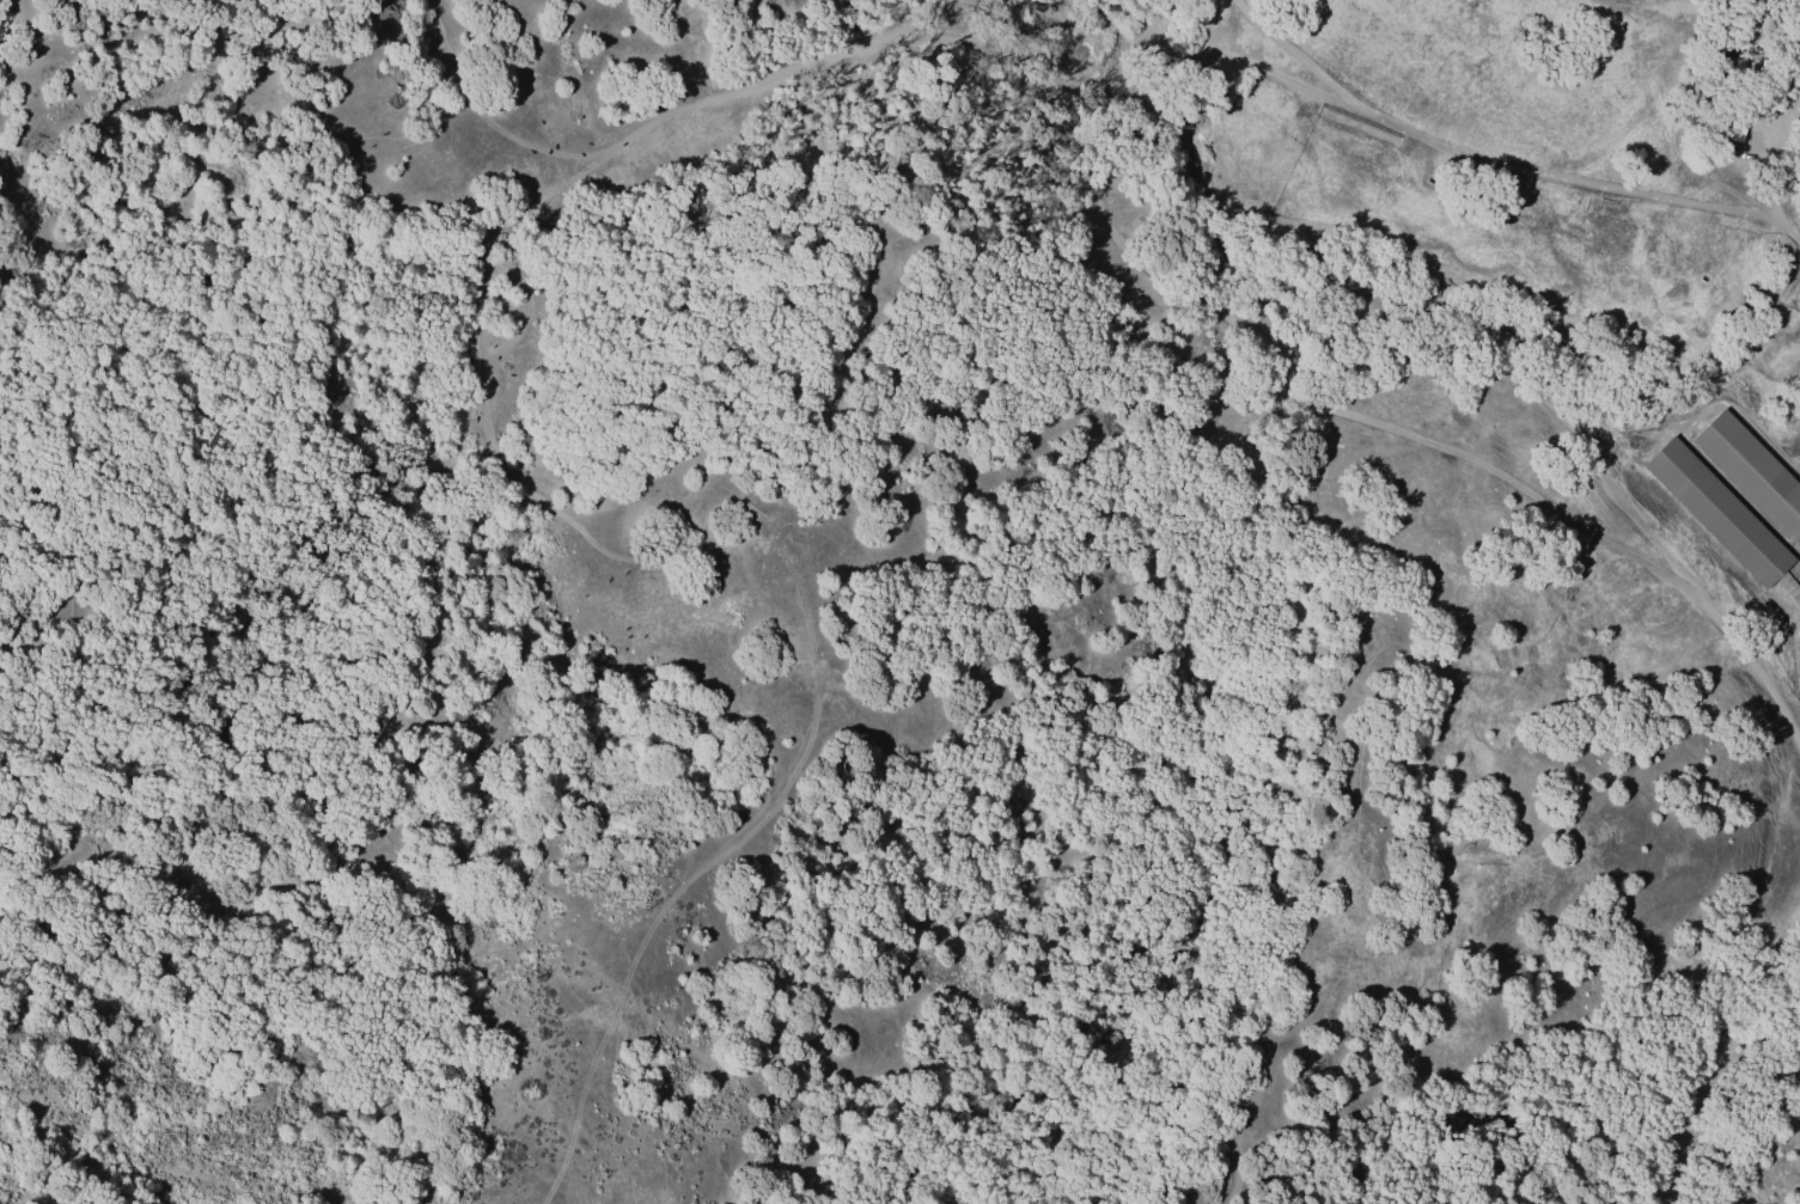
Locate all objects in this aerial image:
building: (1755, 467)
building: (1723, 517)

